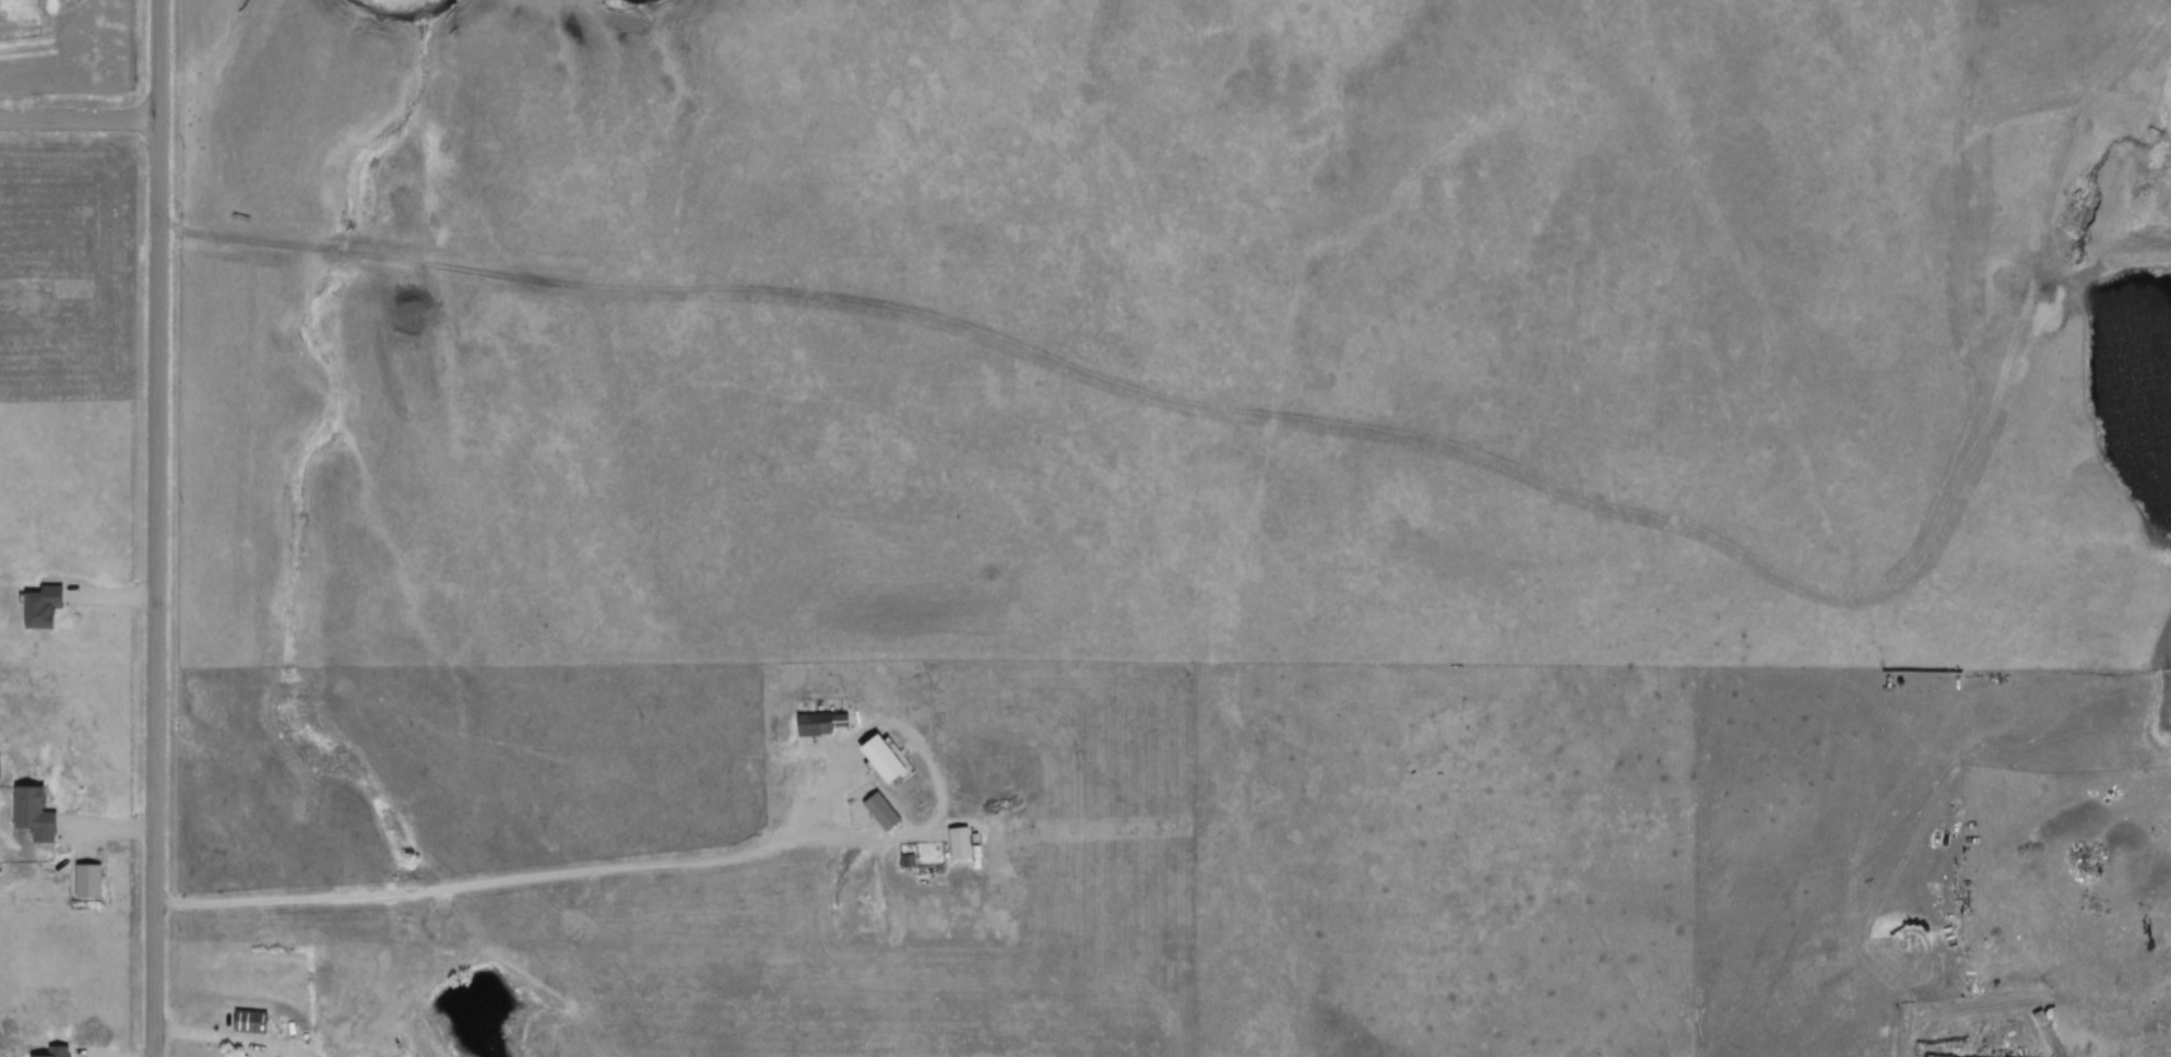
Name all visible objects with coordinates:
road: (73, 124)
road: (145, 527)
building: (44, 616)
building: (820, 733)
building: (886, 767)
building: (882, 820)
building: (35, 822)
building: (961, 853)
building: (251, 1030)
building: (2047, 1038)
building: (59, 1055)

